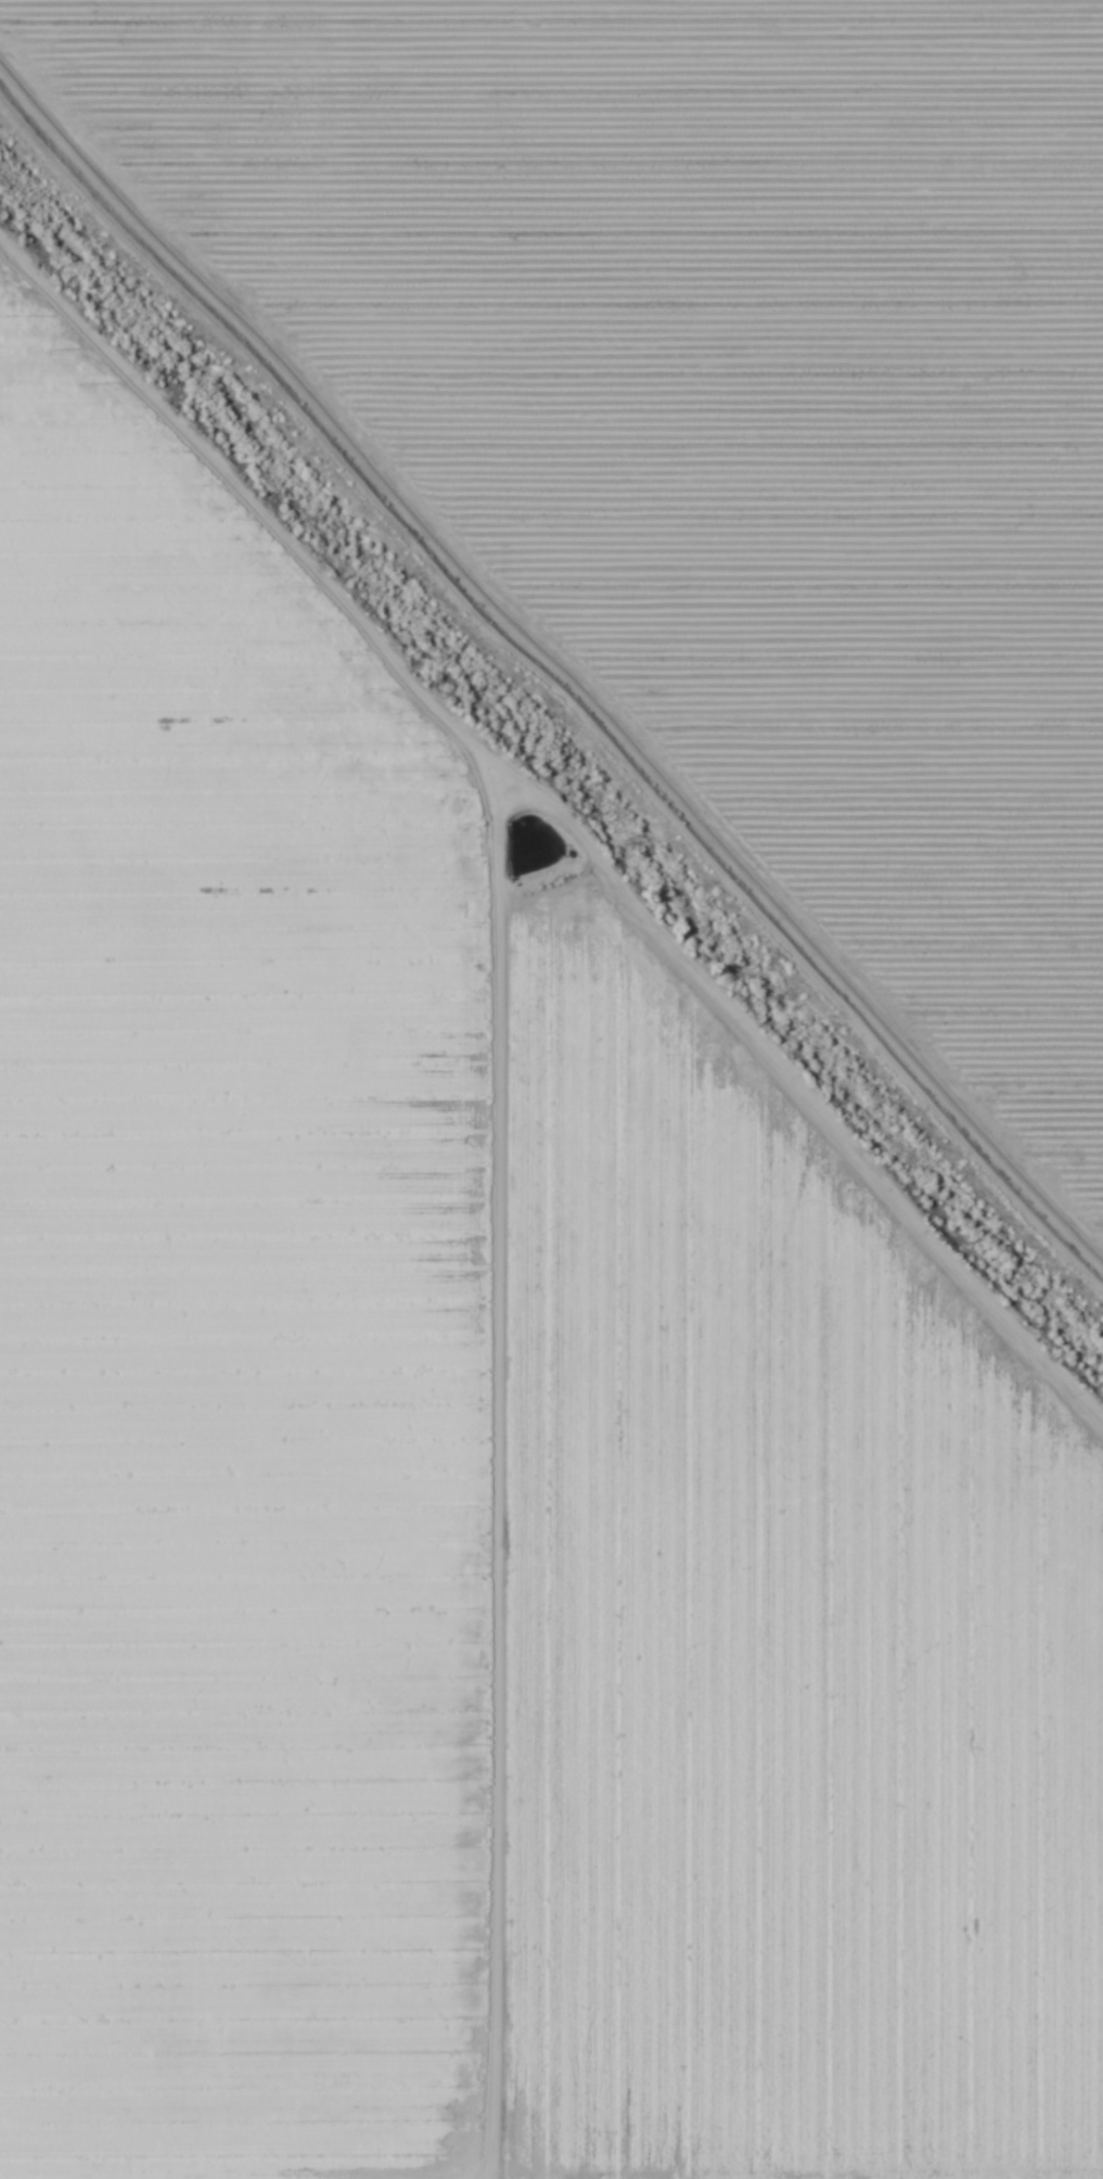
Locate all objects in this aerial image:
road: (546, 803)
crop: (551, 1089)

